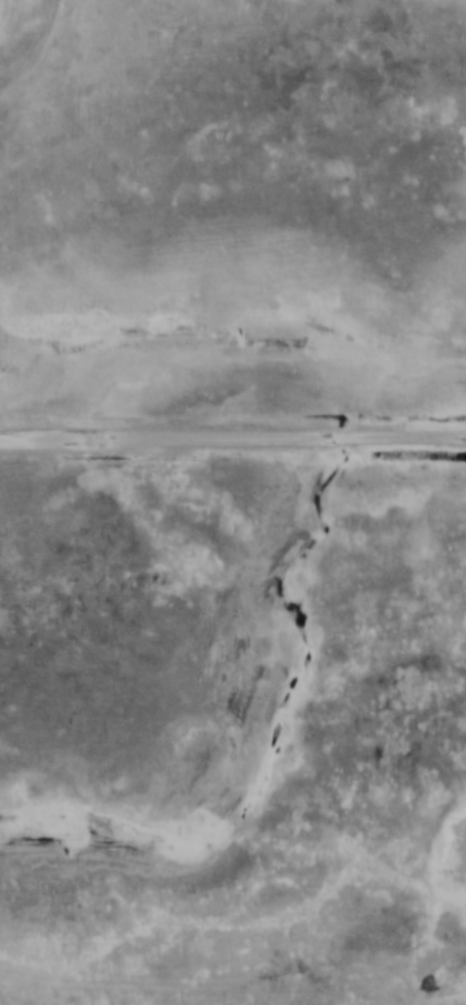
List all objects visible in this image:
road: (232, 443)

